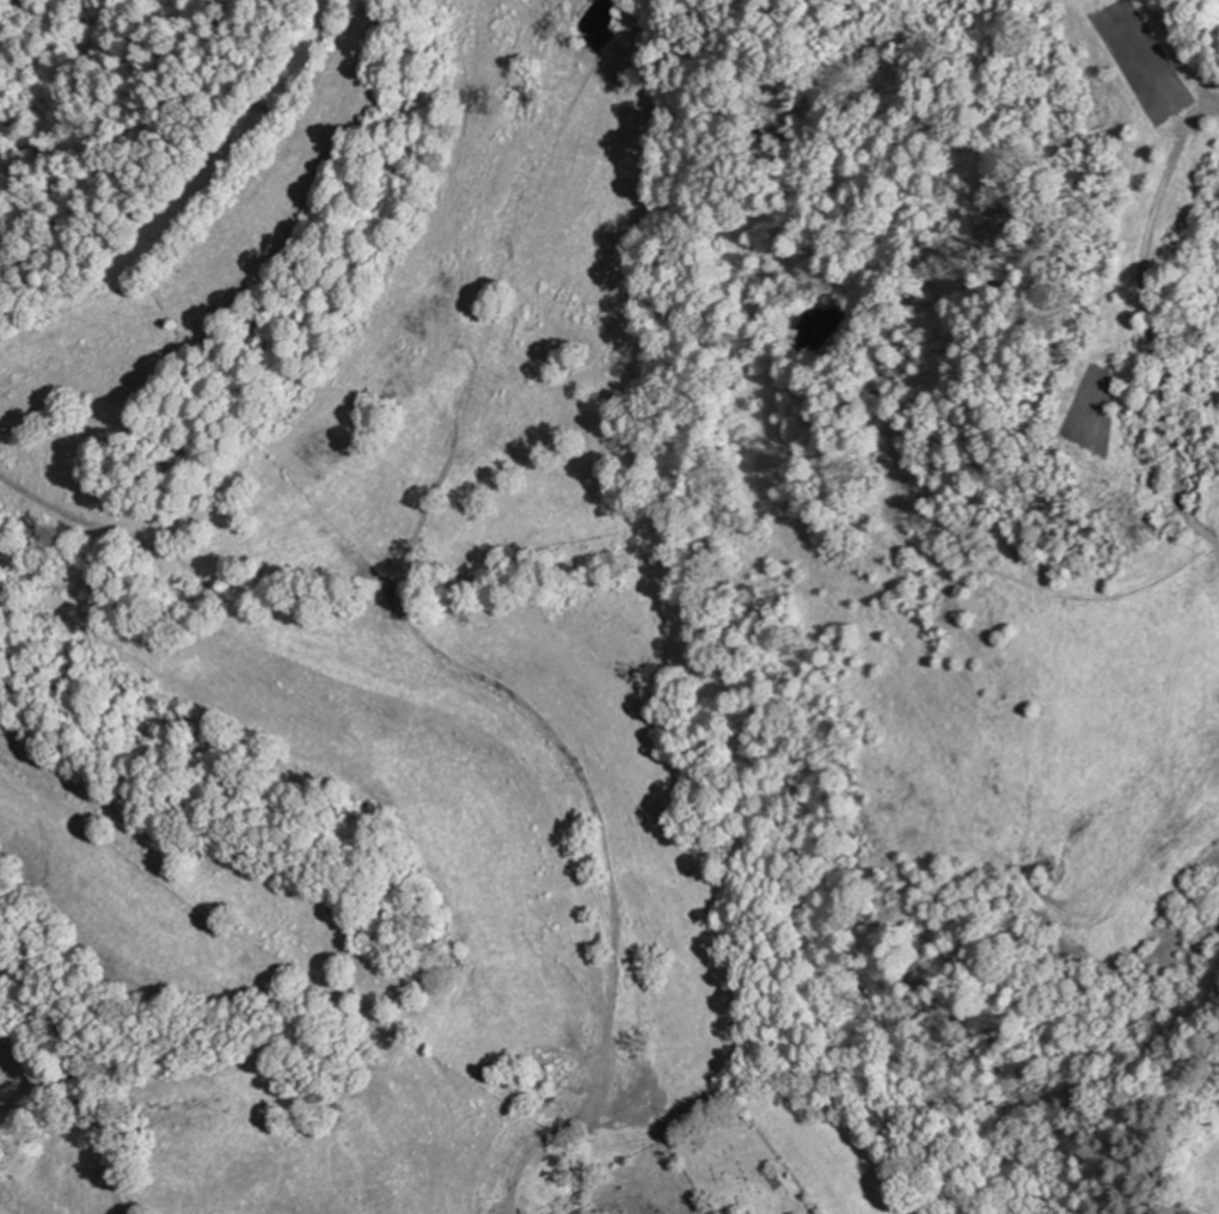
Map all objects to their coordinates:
road: (1148, 226)
park: (737, 1167)

